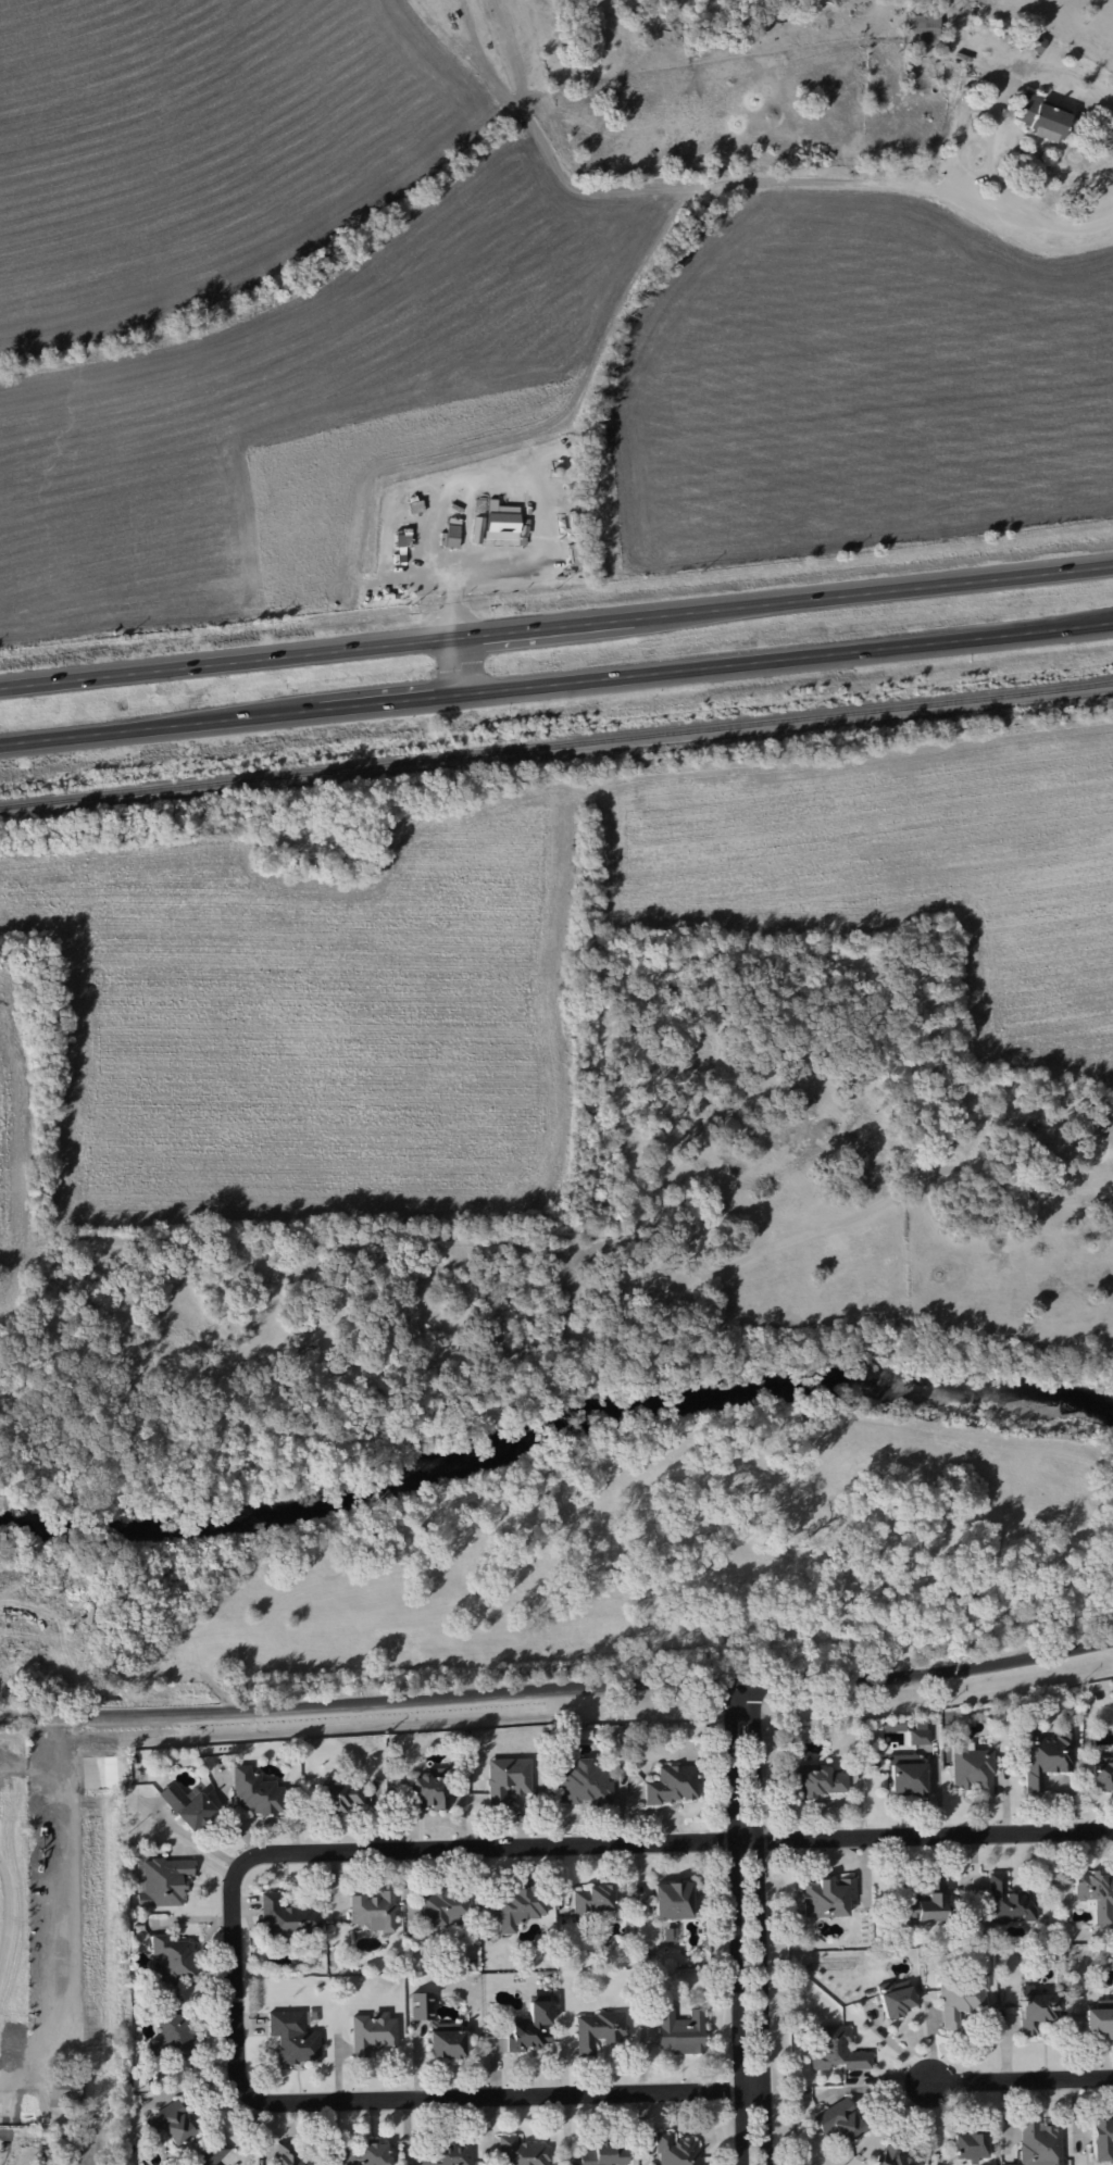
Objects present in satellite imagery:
building: (923, 28)
road: (995, 89)
road: (1099, 100)
building: (1042, 117)
road: (1040, 215)
road: (546, 501)
building: (502, 522)
building: (477, 529)
building: (452, 536)
road: (556, 630)
road: (453, 668)
road: (555, 684)
railway: (556, 746)
road: (558, 1689)
building: (918, 1736)
building: (1047, 1755)
building: (972, 1769)
building: (906, 1775)
building: (1102, 1777)
building: (507, 1779)
building: (816, 1780)
building: (584, 1782)
building: (673, 1784)
building: (429, 1789)
building: (257, 1792)
building: (341, 1798)
building: (187, 1805)
road: (929, 1832)
building: (164, 1881)
building: (1096, 1894)
building: (828, 1897)
building: (591, 1900)
building: (673, 1900)
building: (928, 1901)
building: (1010, 1902)
building: (442, 1905)
crop: (43, 1906)
building: (518, 1906)
building: (373, 1911)
building: (288, 1917)
road: (750, 1922)
road: (717, 1949)
building: (173, 1958)
road: (236, 1980)
building: (896, 1997)
building: (961, 1998)
building: (421, 2005)
building: (1036, 2008)
building: (1100, 2018)
building: (533, 2026)
building: (599, 2029)
building: (372, 2031)
building: (681, 2031)
building: (174, 2037)
building: (293, 2037)
building: (447, 2040)
building: (836, 2048)
road: (1022, 2079)
building: (840, 2123)
building: (170, 2124)
building: (1101, 2140)
building: (1039, 2144)
building: (970, 2145)
building: (677, 2150)
building: (523, 2152)
building: (213, 2153)
building: (604, 2153)
building: (366, 2154)
building: (446, 2154)
building: (291, 2155)
building: (891, 2155)

